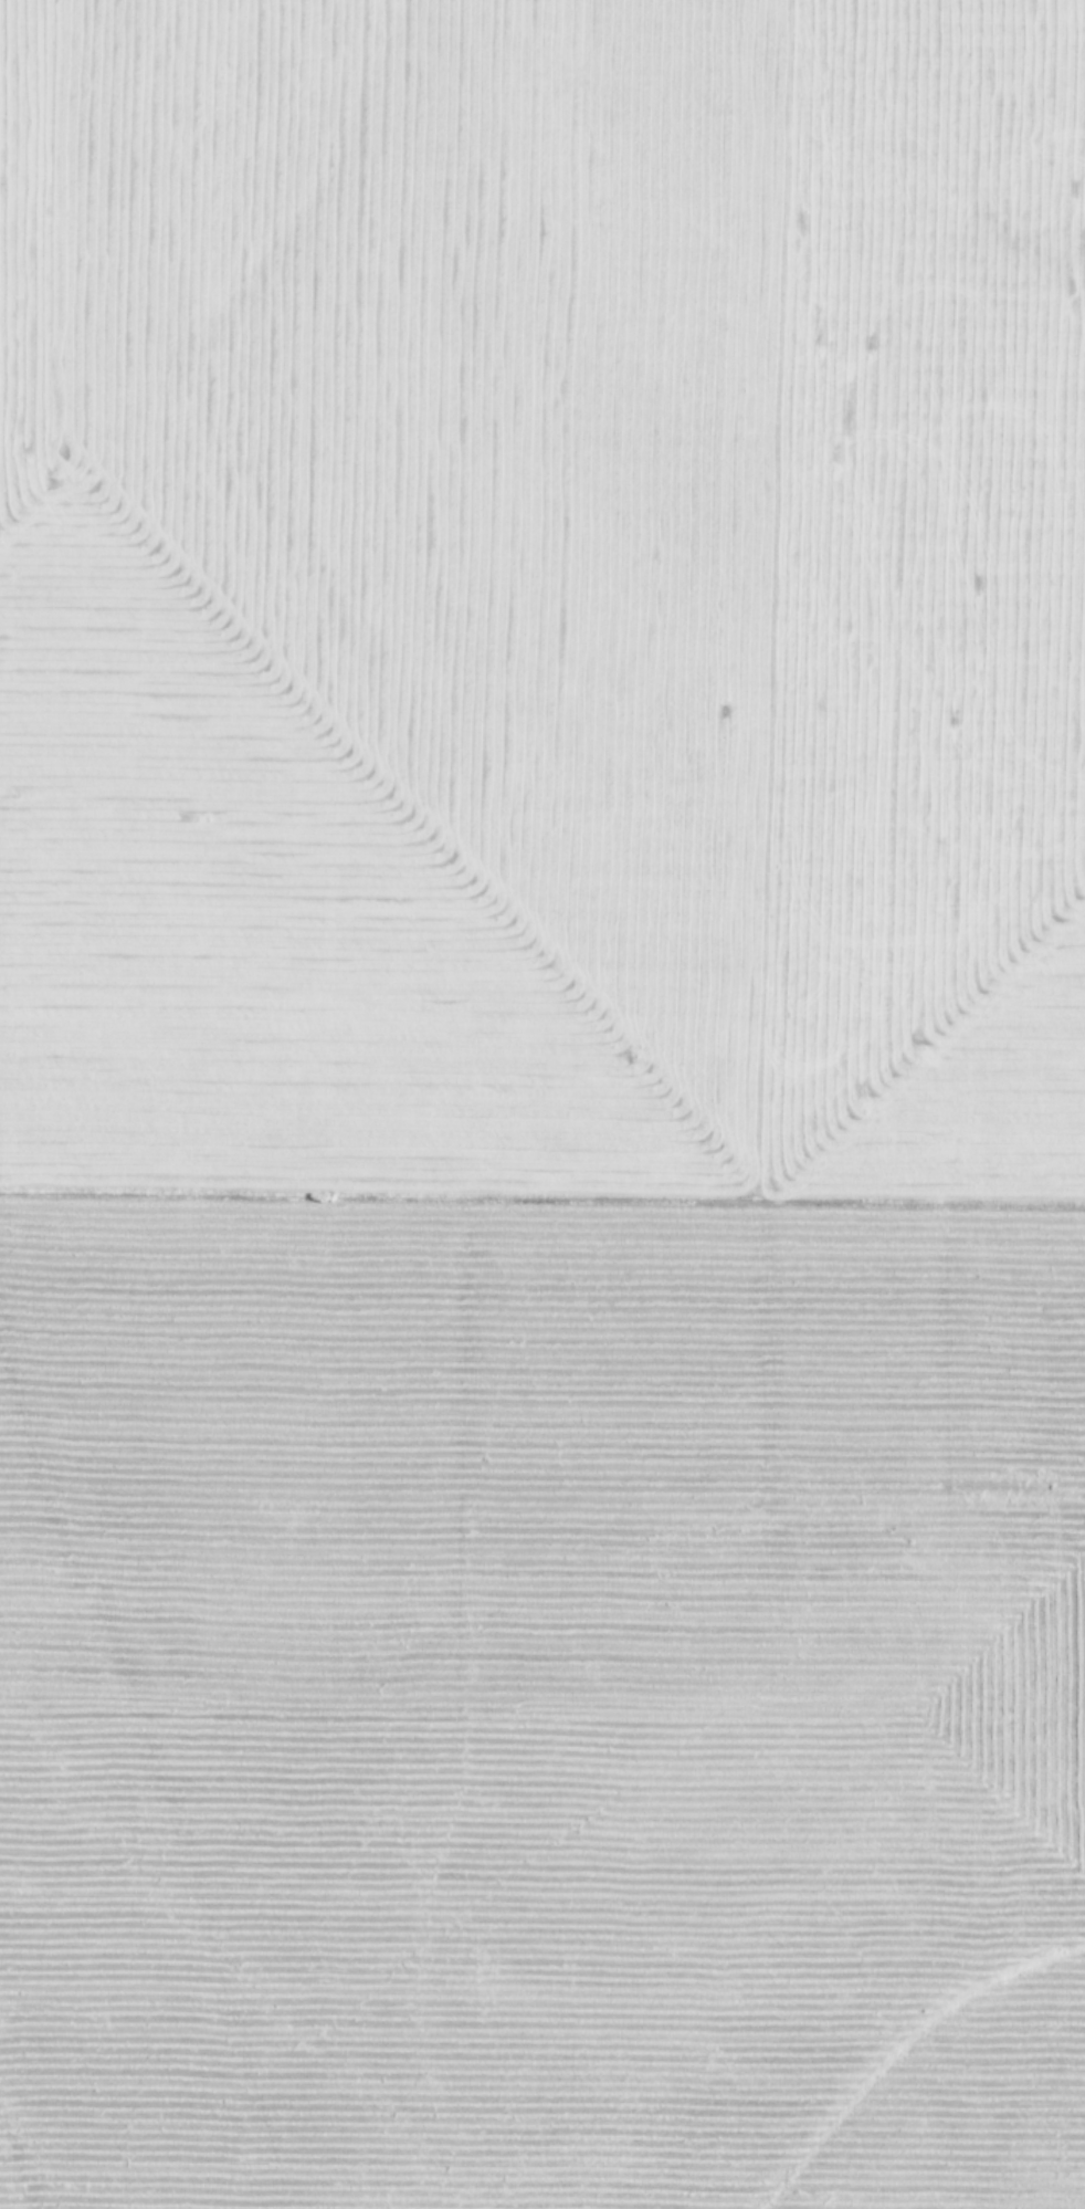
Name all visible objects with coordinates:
crop: (542, 1104)

